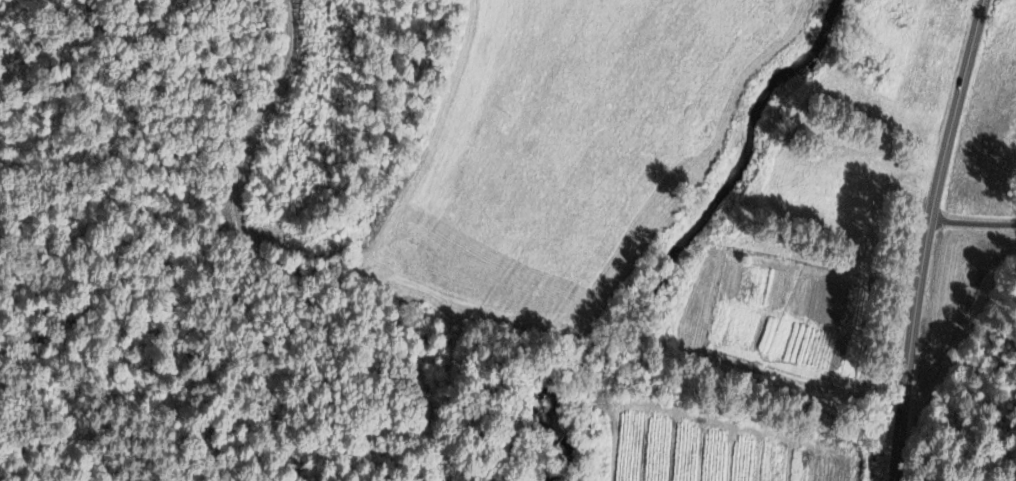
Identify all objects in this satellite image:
road: (254, 121)
road: (971, 224)
road: (925, 238)

